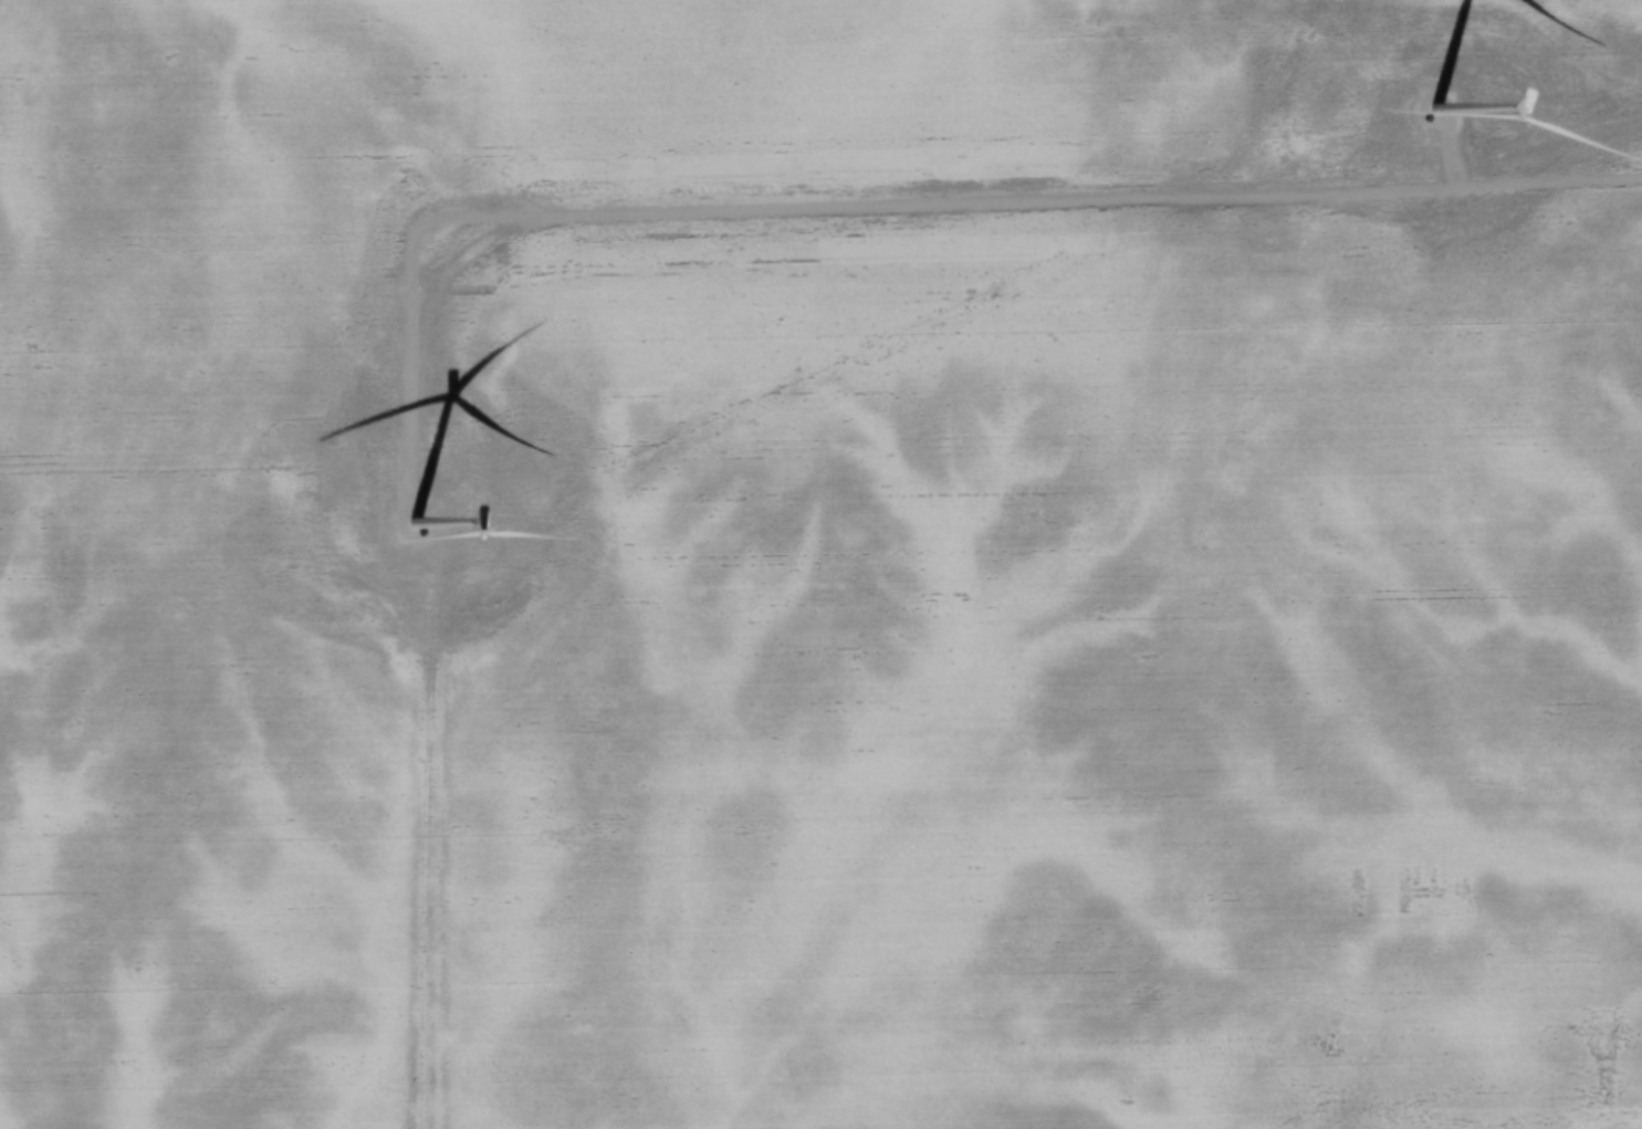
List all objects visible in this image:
wind turbine: (1434, 100)
wind turbine: (408, 529)
road: (806, 781)

